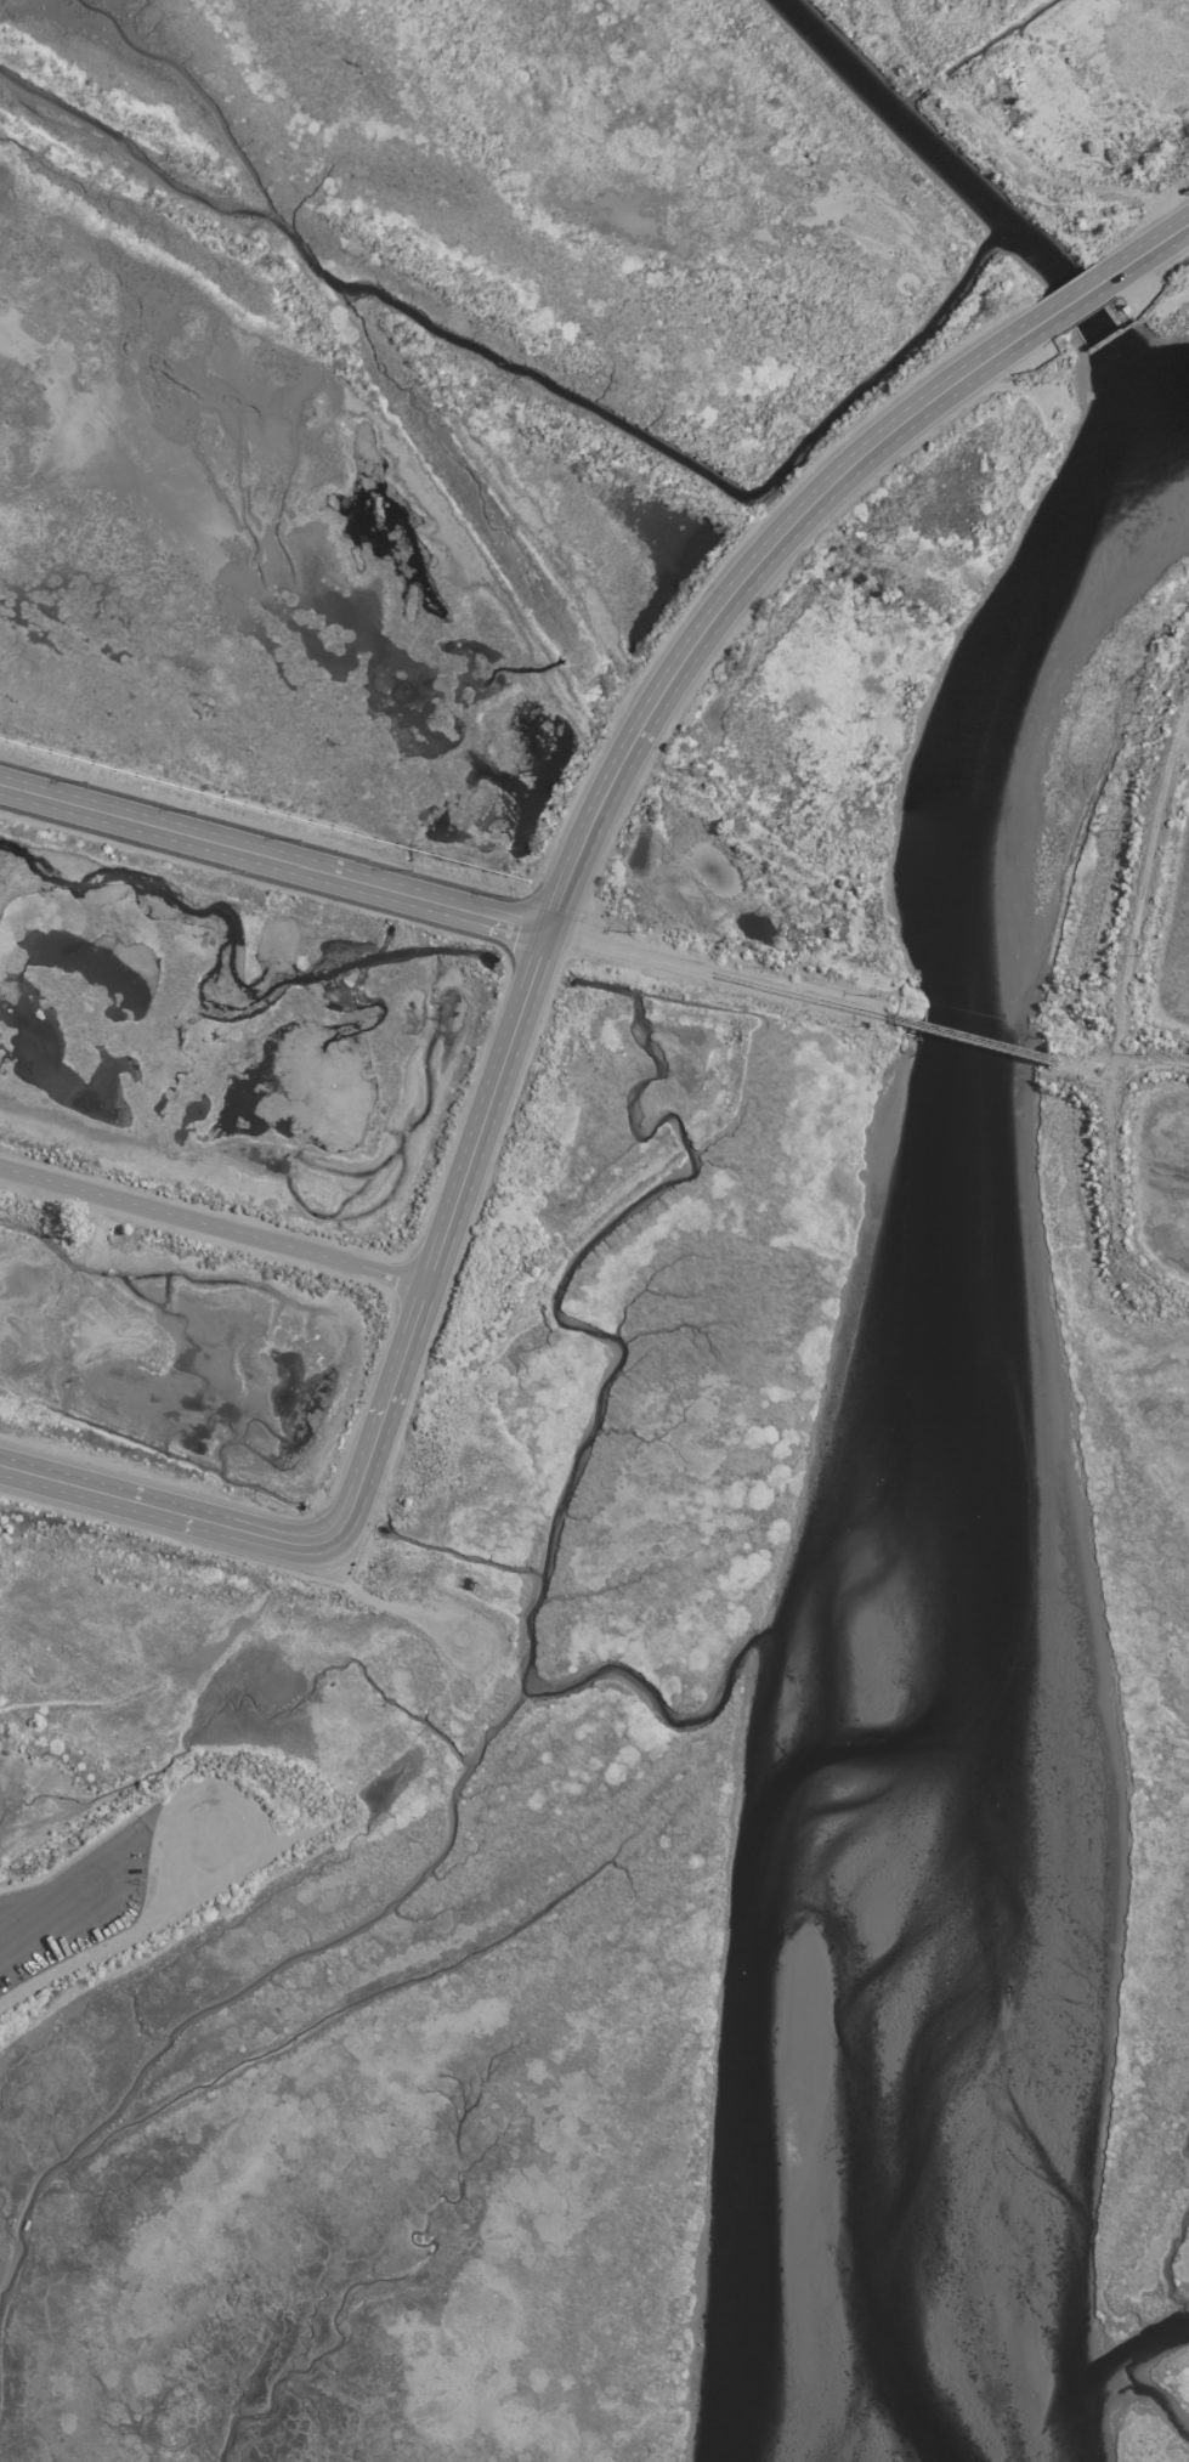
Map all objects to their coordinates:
road: (611, 775)
road: (271, 858)
road: (712, 962)
road: (1122, 991)
road: (1129, 1059)
road: (210, 1226)
airport: (594, 1230)
road: (163, 1509)

